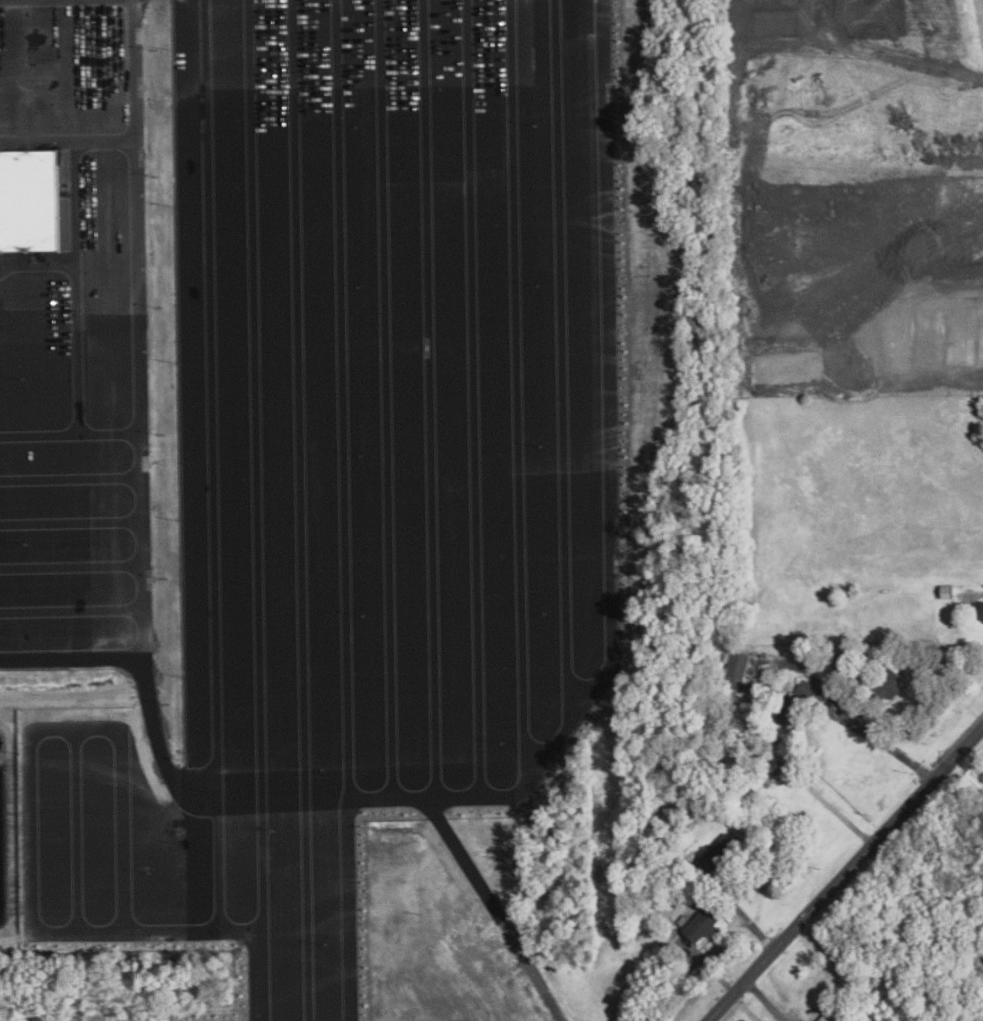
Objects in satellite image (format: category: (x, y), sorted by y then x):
road: (903, 99)
road: (826, 181)
railway: (474, 234)
road: (907, 289)
road: (132, 329)
road: (66, 330)
road: (268, 512)
building: (980, 611)
road: (70, 659)
road: (944, 663)
building: (734, 668)
road: (225, 676)
building: (887, 684)
building: (800, 702)
road: (848, 715)
road: (835, 806)
road: (338, 842)
building: (717, 853)
road: (845, 872)
building: (700, 924)

